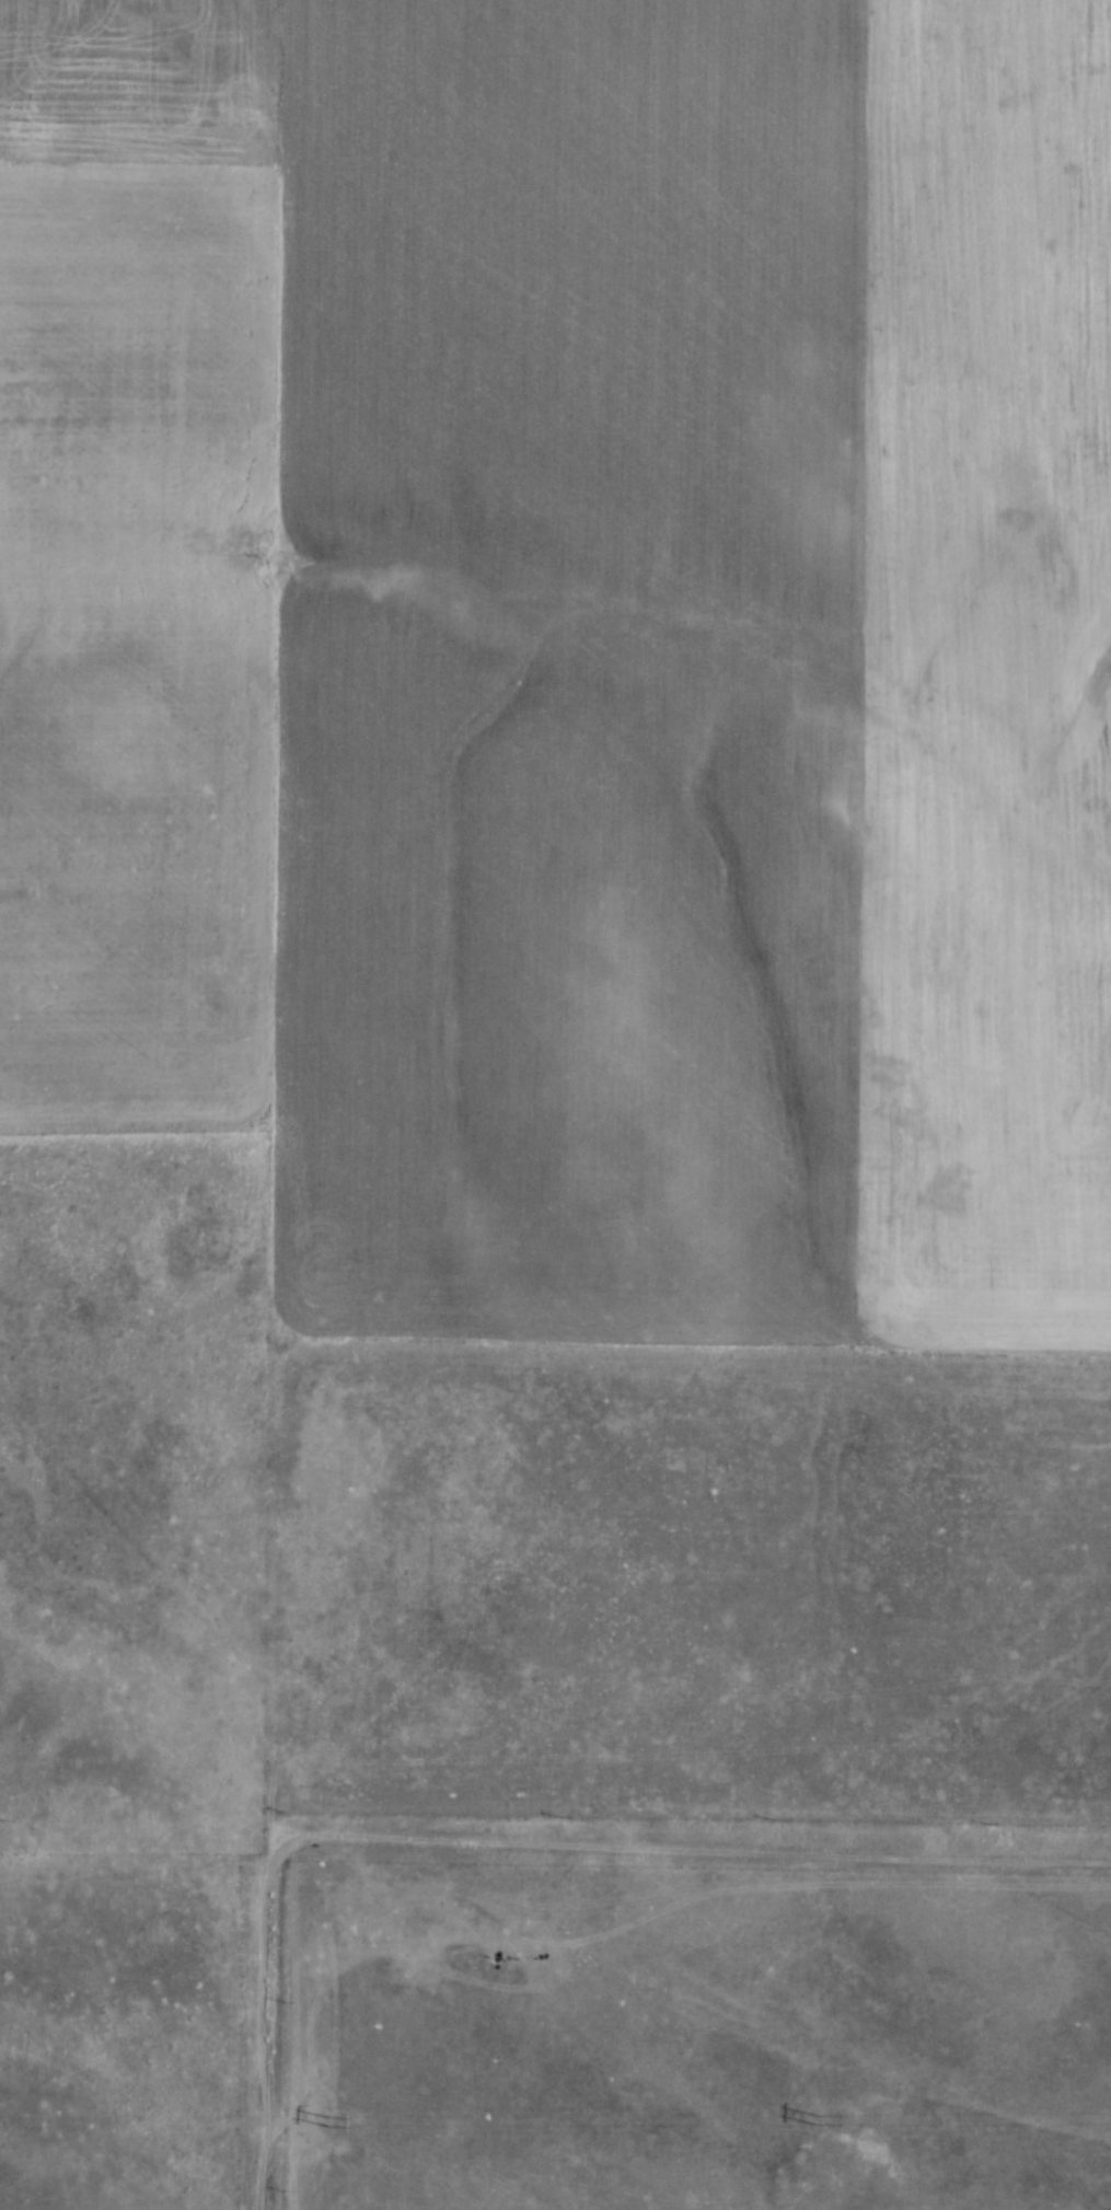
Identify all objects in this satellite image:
crop: (572, 648)
road: (699, 1847)
road: (270, 2023)
power tower: (818, 2119)
power tower: (332, 2122)

